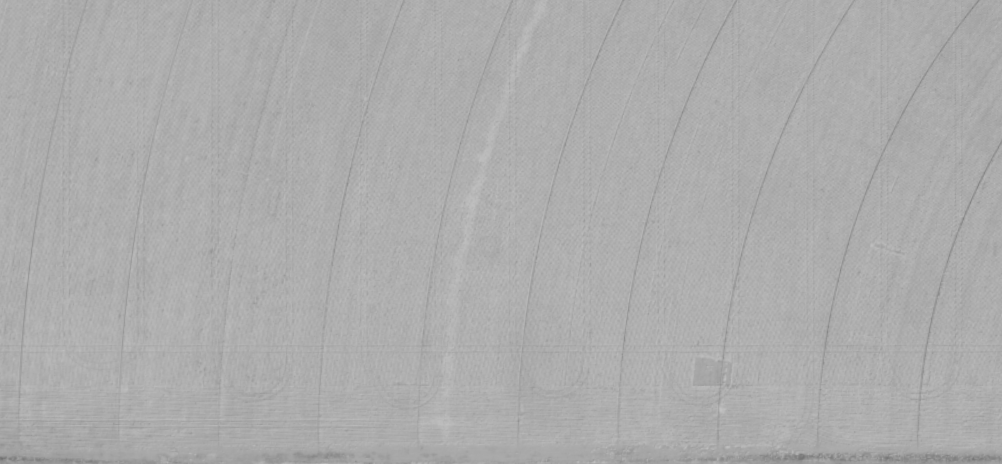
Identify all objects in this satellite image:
road: (726, 232)

